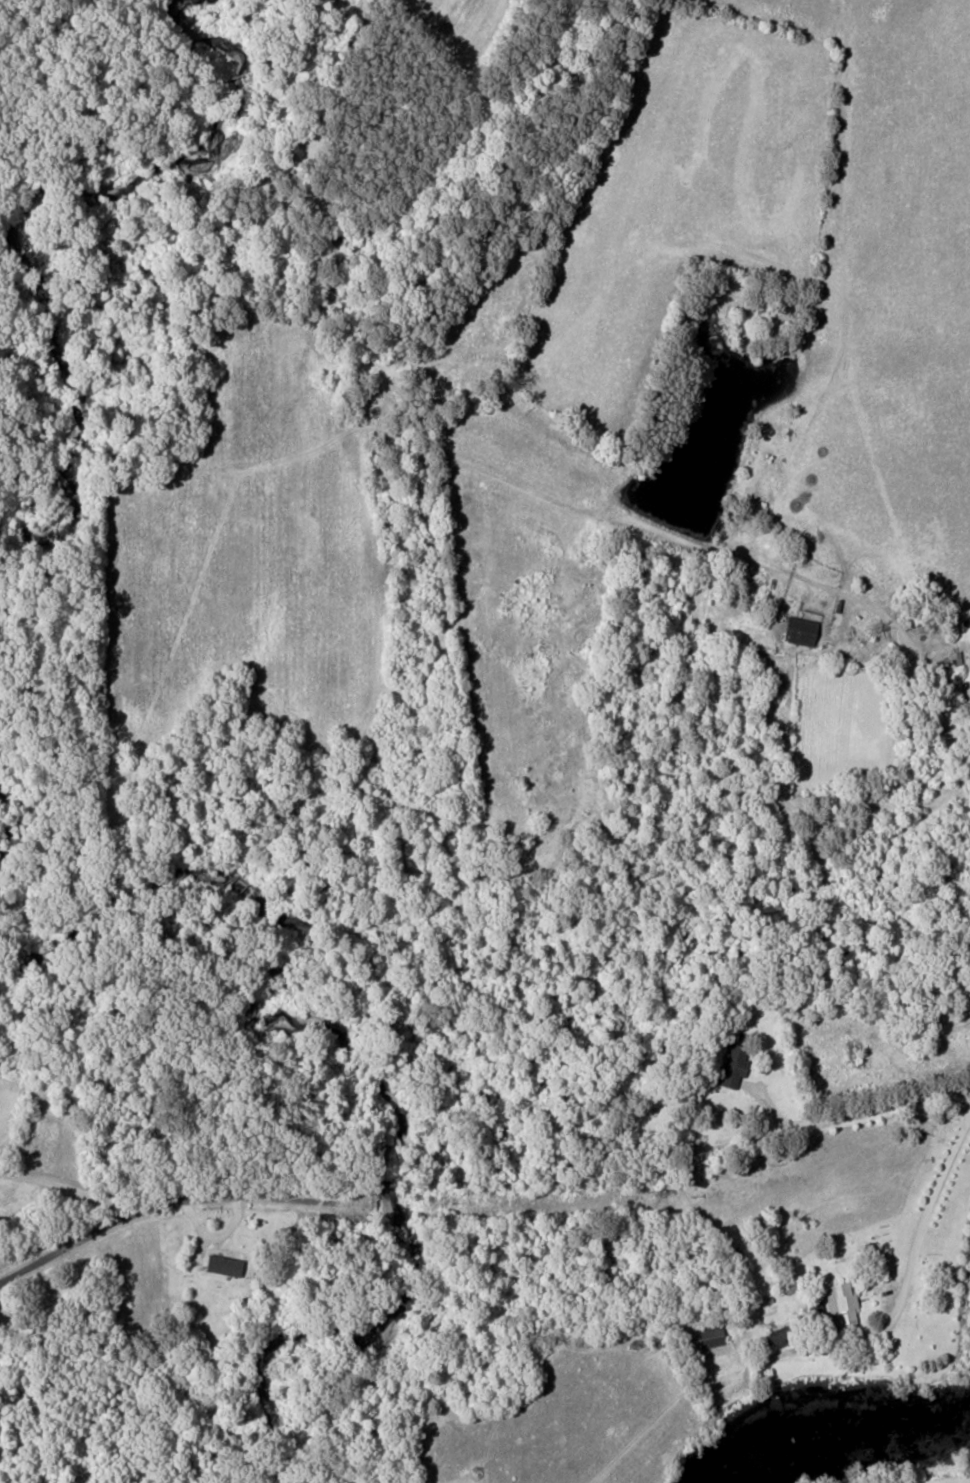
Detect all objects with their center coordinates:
building: (796, 629)
building: (954, 655)
building: (969, 667)
building: (730, 1064)
road: (892, 1102)
road: (144, 1210)
building: (220, 1264)
building: (838, 1305)
building: (707, 1336)
building: (771, 1336)

